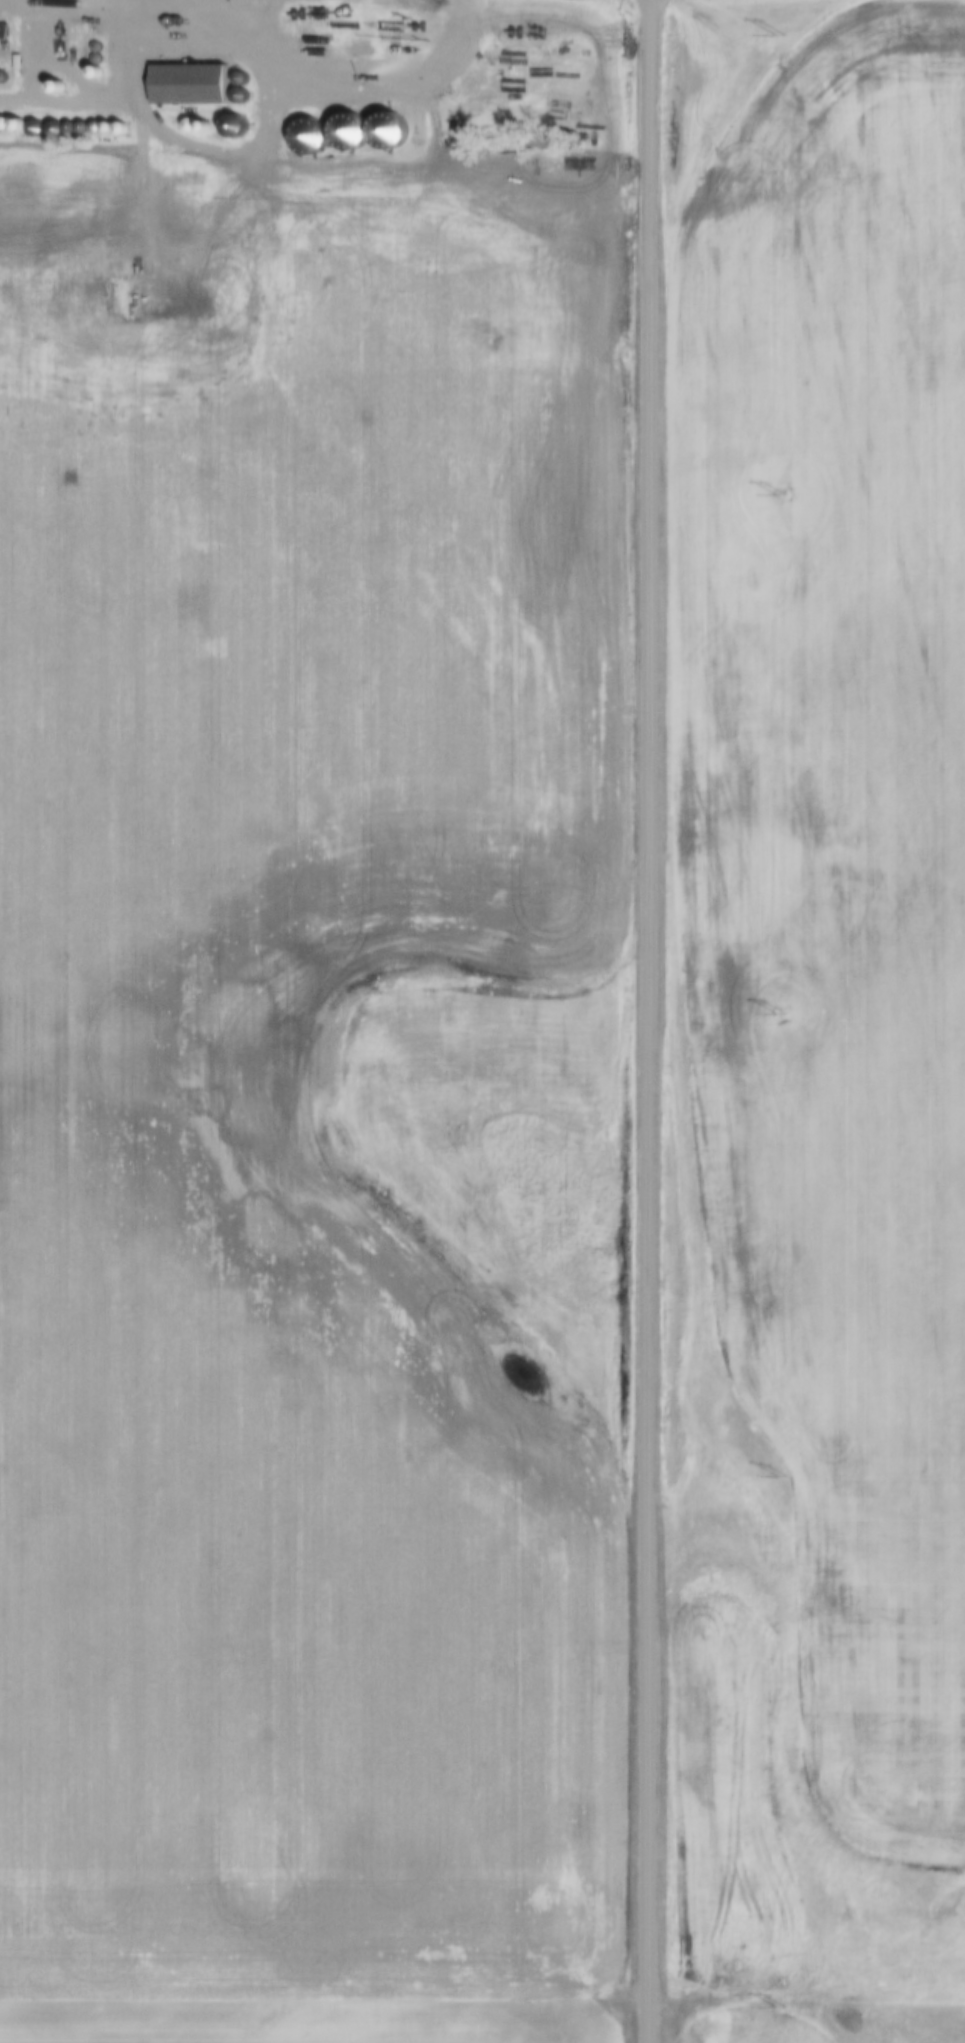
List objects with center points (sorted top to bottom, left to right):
building: (191, 84)
building: (485, 109)
road: (647, 1021)

